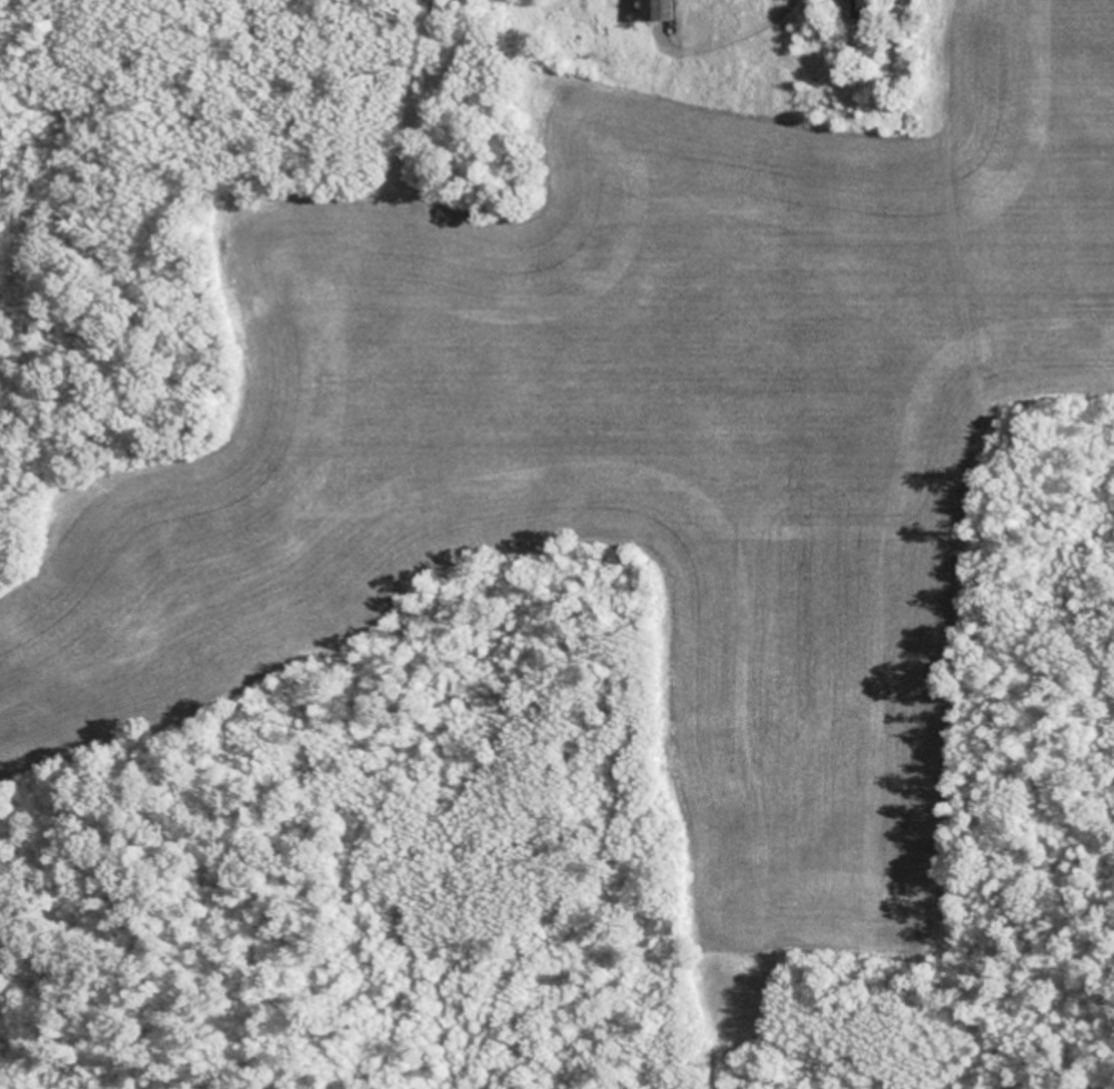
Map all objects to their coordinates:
building: (861, 11)
building: (658, 12)

